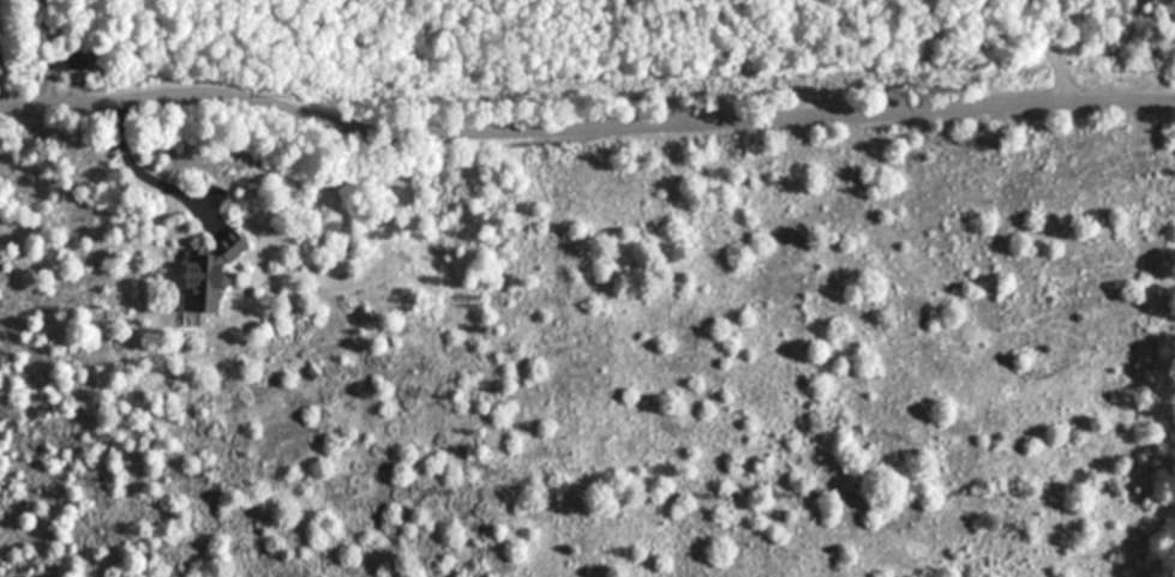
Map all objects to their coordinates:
road: (1048, 53)
building: (76, 60)
road: (583, 126)
road: (140, 170)
building: (200, 278)

